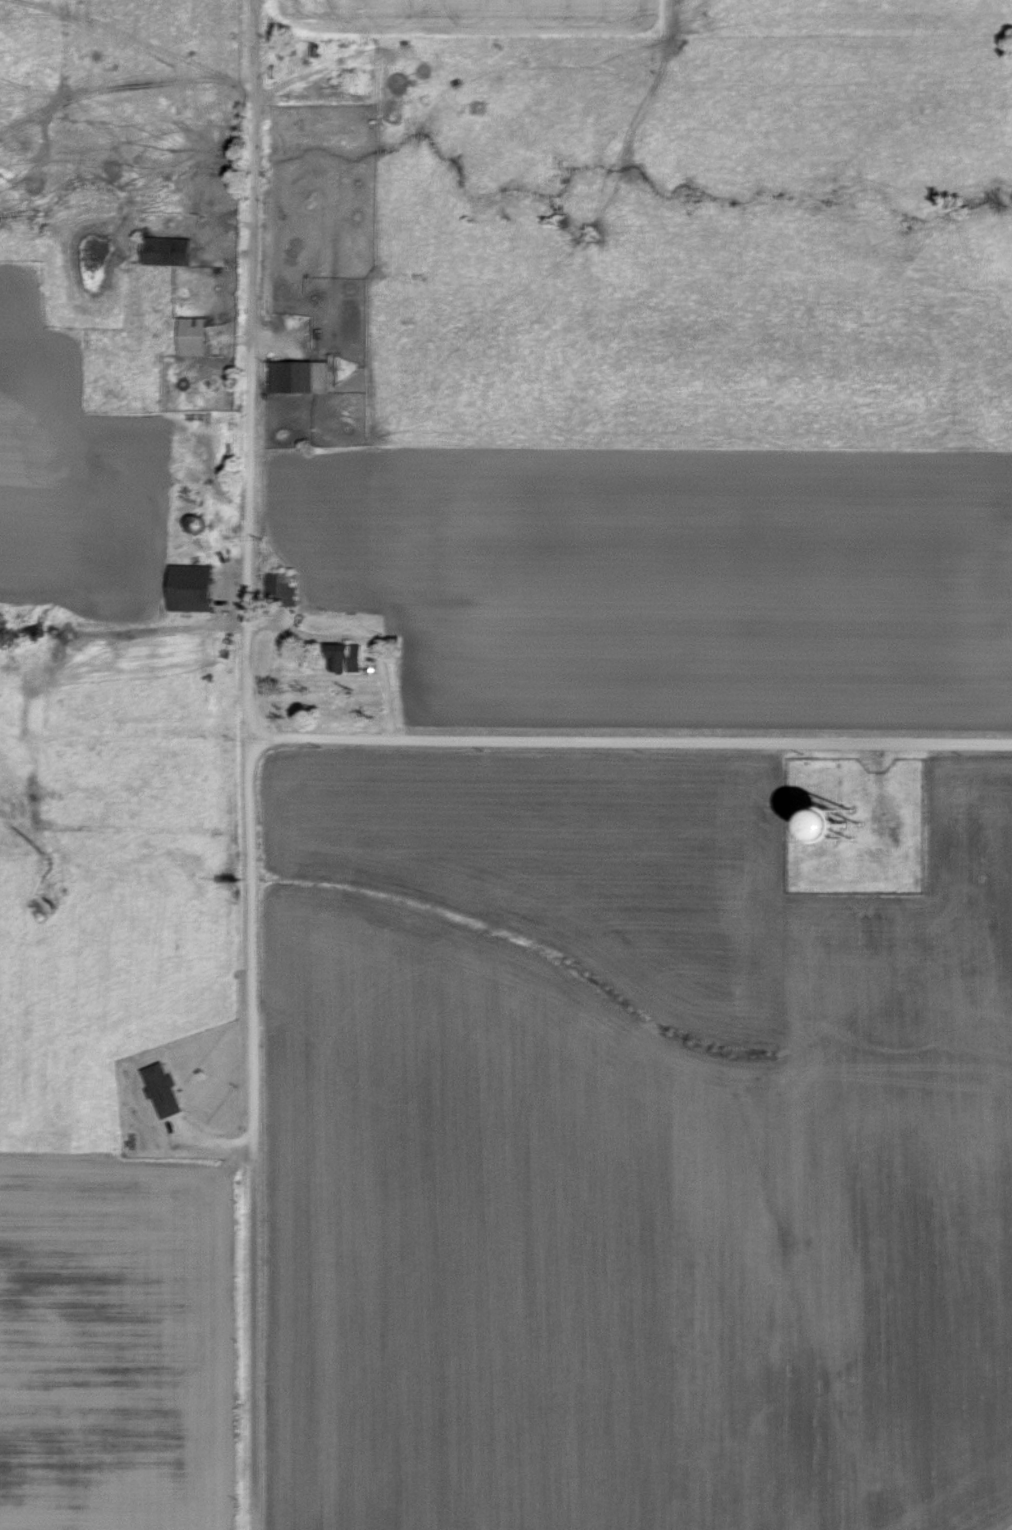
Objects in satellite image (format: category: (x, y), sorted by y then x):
building: (169, 251)
building: (197, 336)
building: (302, 377)
building: (197, 587)
building: (284, 588)
road: (161, 634)
building: (352, 656)
road: (250, 722)
road: (631, 742)
building: (167, 1089)
road: (256, 1487)

